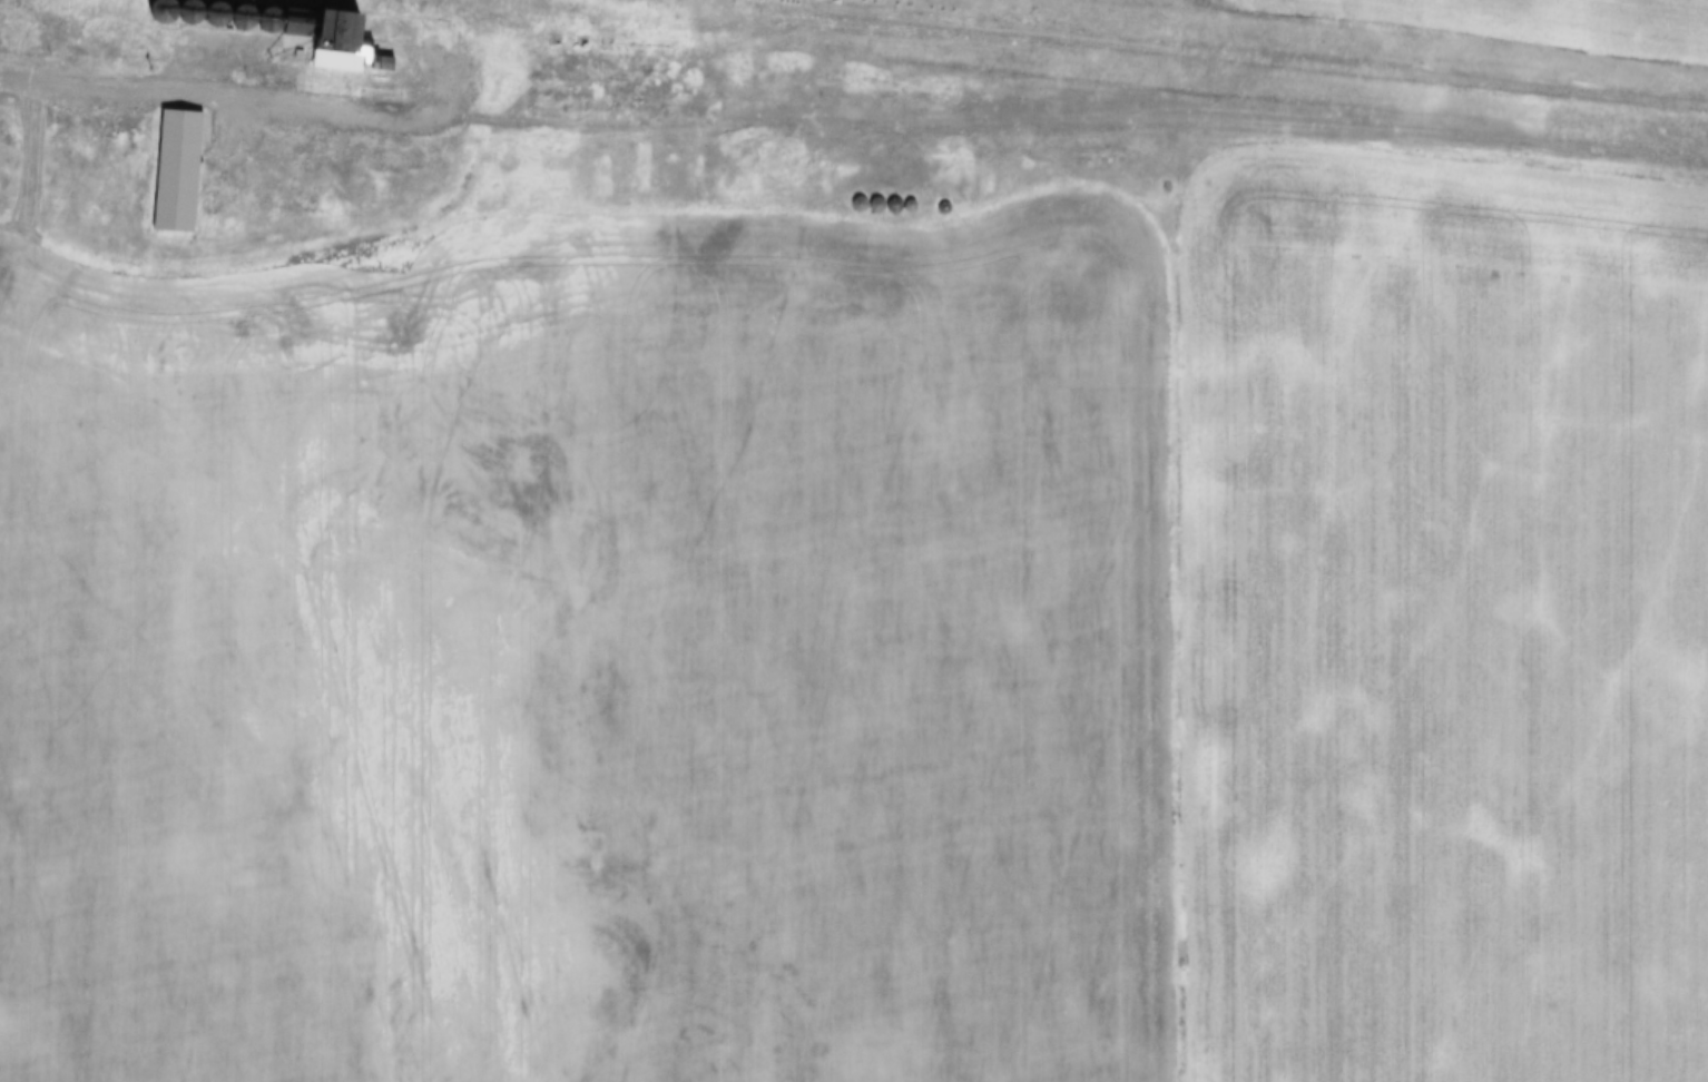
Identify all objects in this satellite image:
building: (161, 7)
silo: (161, 7)
building: (188, 8)
silo: (188, 8)
building: (215, 9)
silo: (215, 9)
building: (242, 11)
silo: (242, 11)
building: (269, 12)
silo: (269, 12)
building: (131, 23)
building: (337, 23)
building: (345, 62)
building: (178, 163)
building: (863, 195)
silo: (863, 195)
building: (881, 196)
silo: (881, 196)
building: (897, 196)
silo: (897, 196)
building: (913, 197)
silo: (913, 197)
building: (949, 199)
silo: (949, 199)

